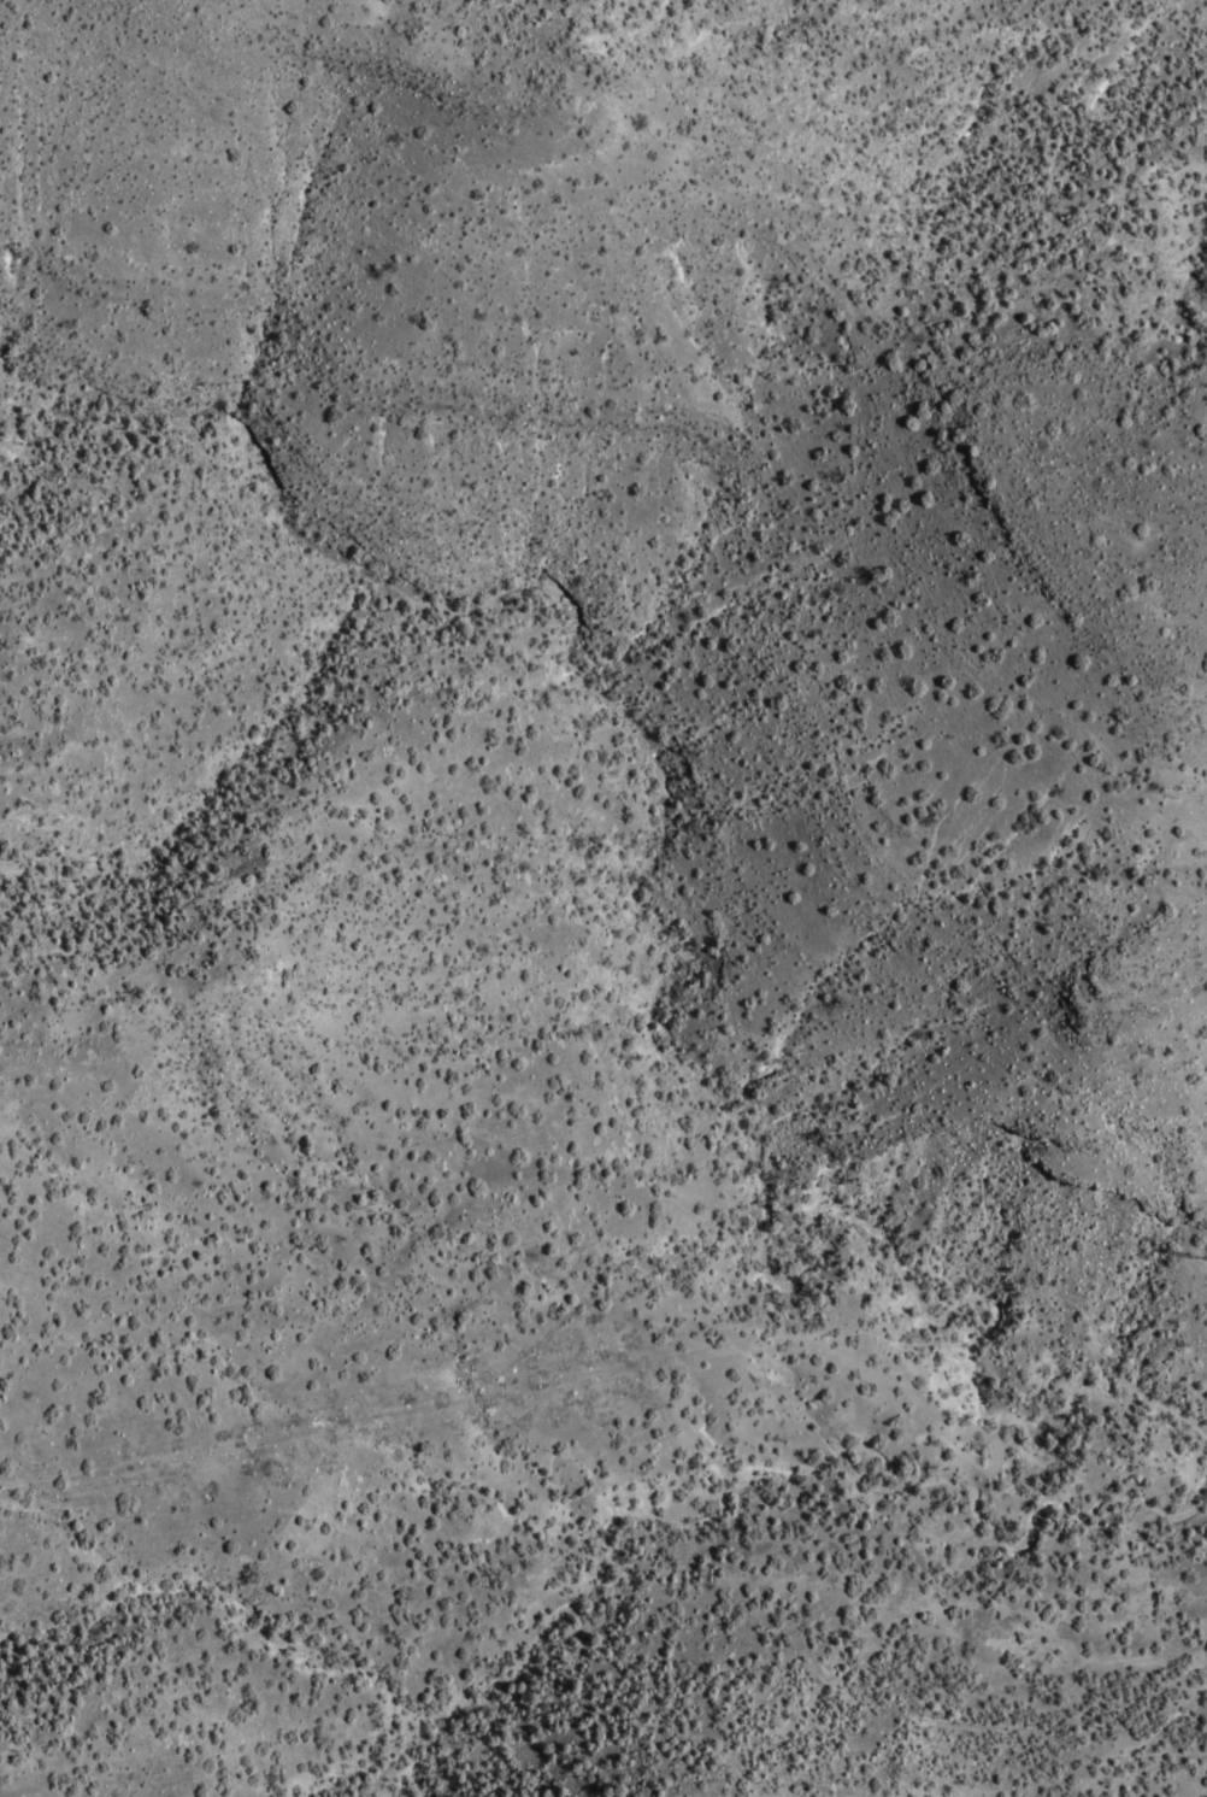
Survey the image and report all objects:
power tower: (1180, 1256)

